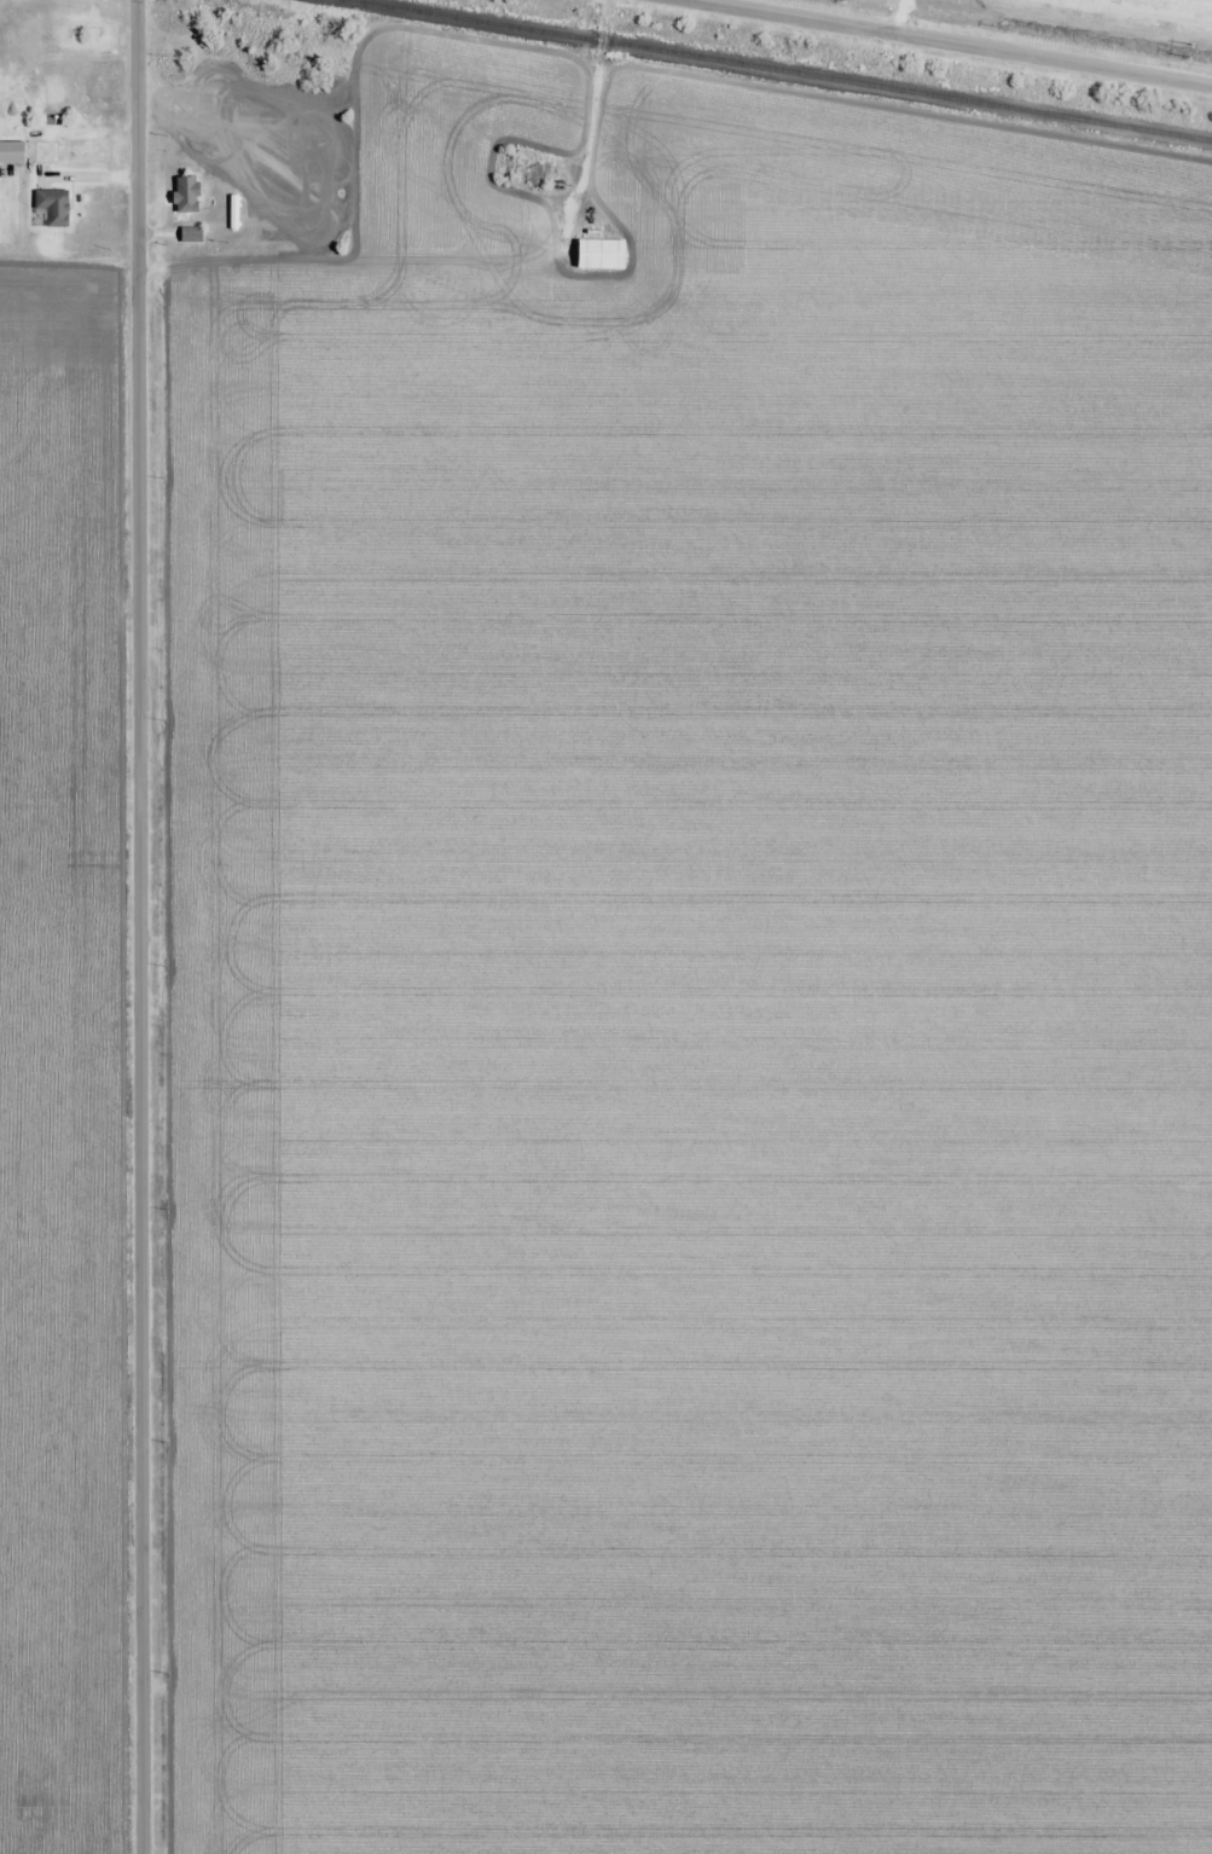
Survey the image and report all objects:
power tower: (993, 23)
road: (953, 42)
railway: (781, 69)
road: (592, 118)
building: (12, 152)
building: (537, 172)
building: (185, 195)
building: (50, 208)
building: (190, 236)
building: (599, 254)
road: (138, 927)

